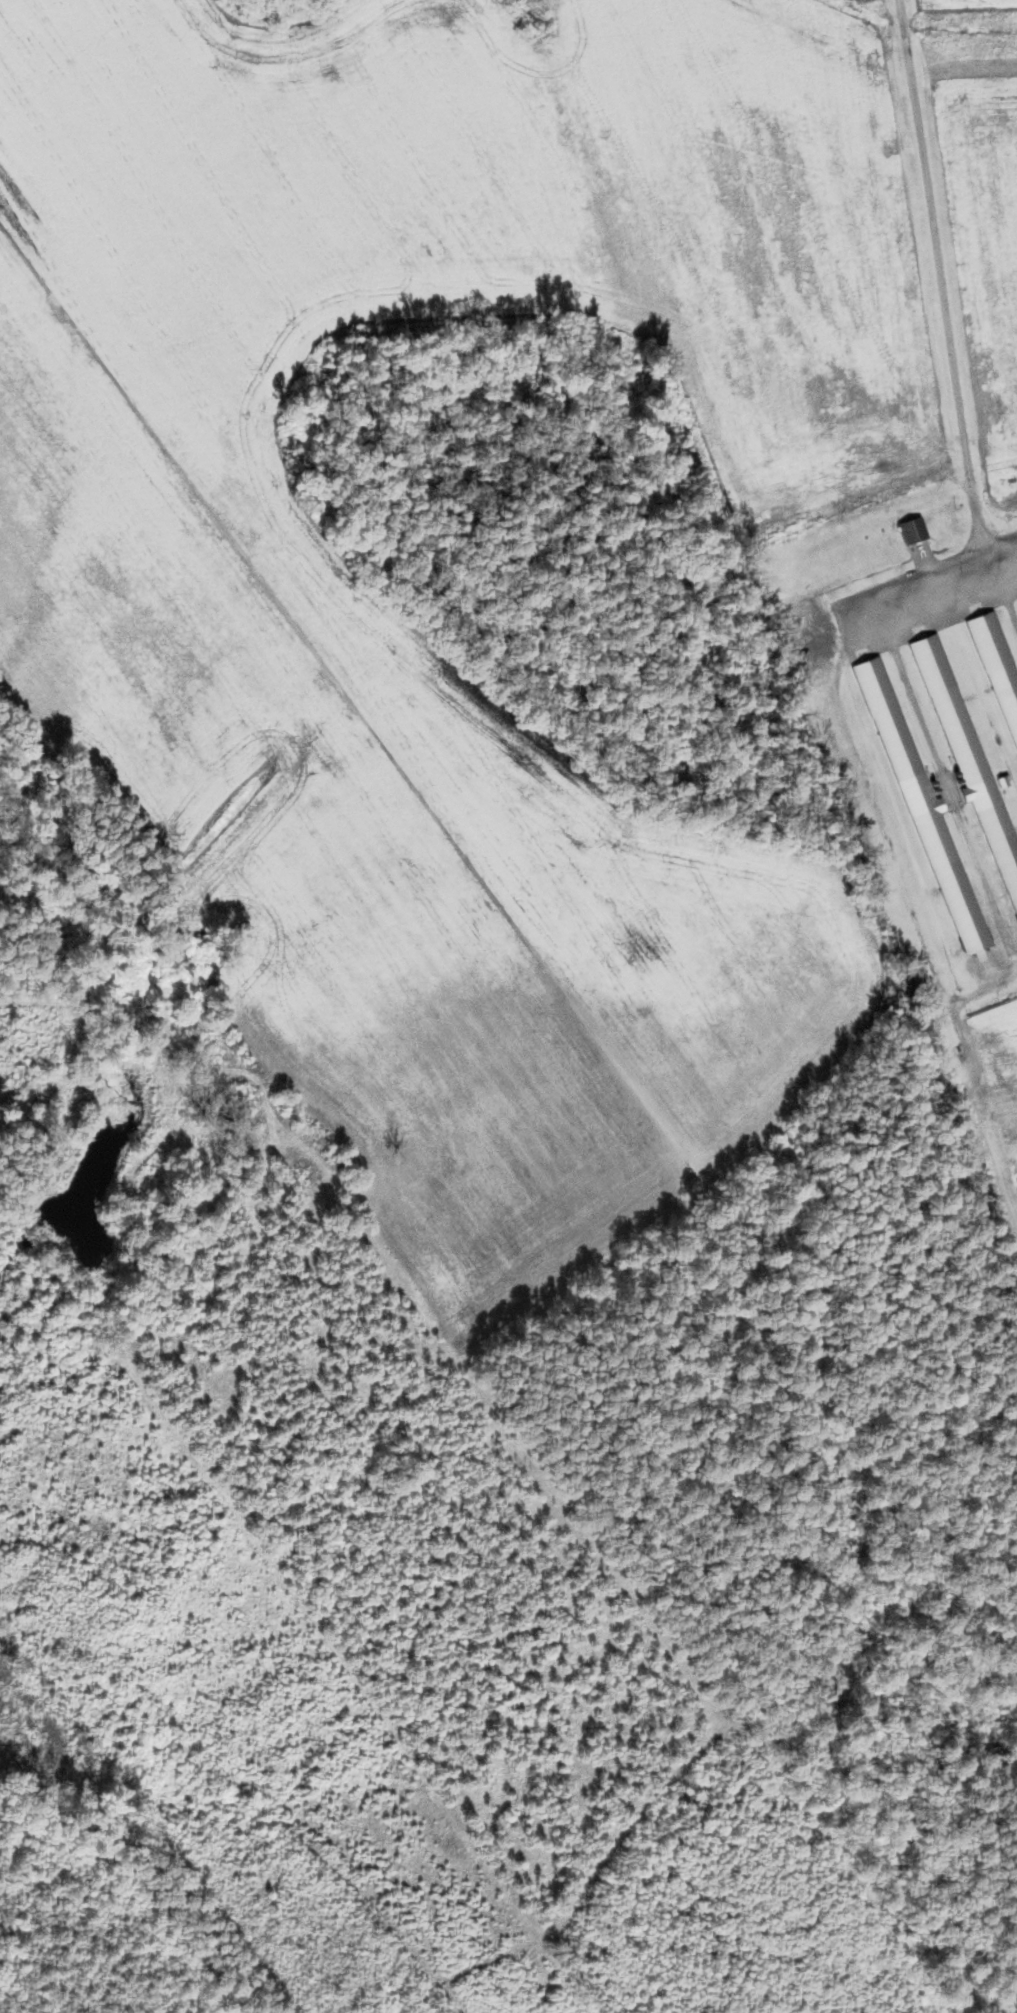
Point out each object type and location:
road: (94, 1019)
building: (203, 1034)
building: (45, 1107)

